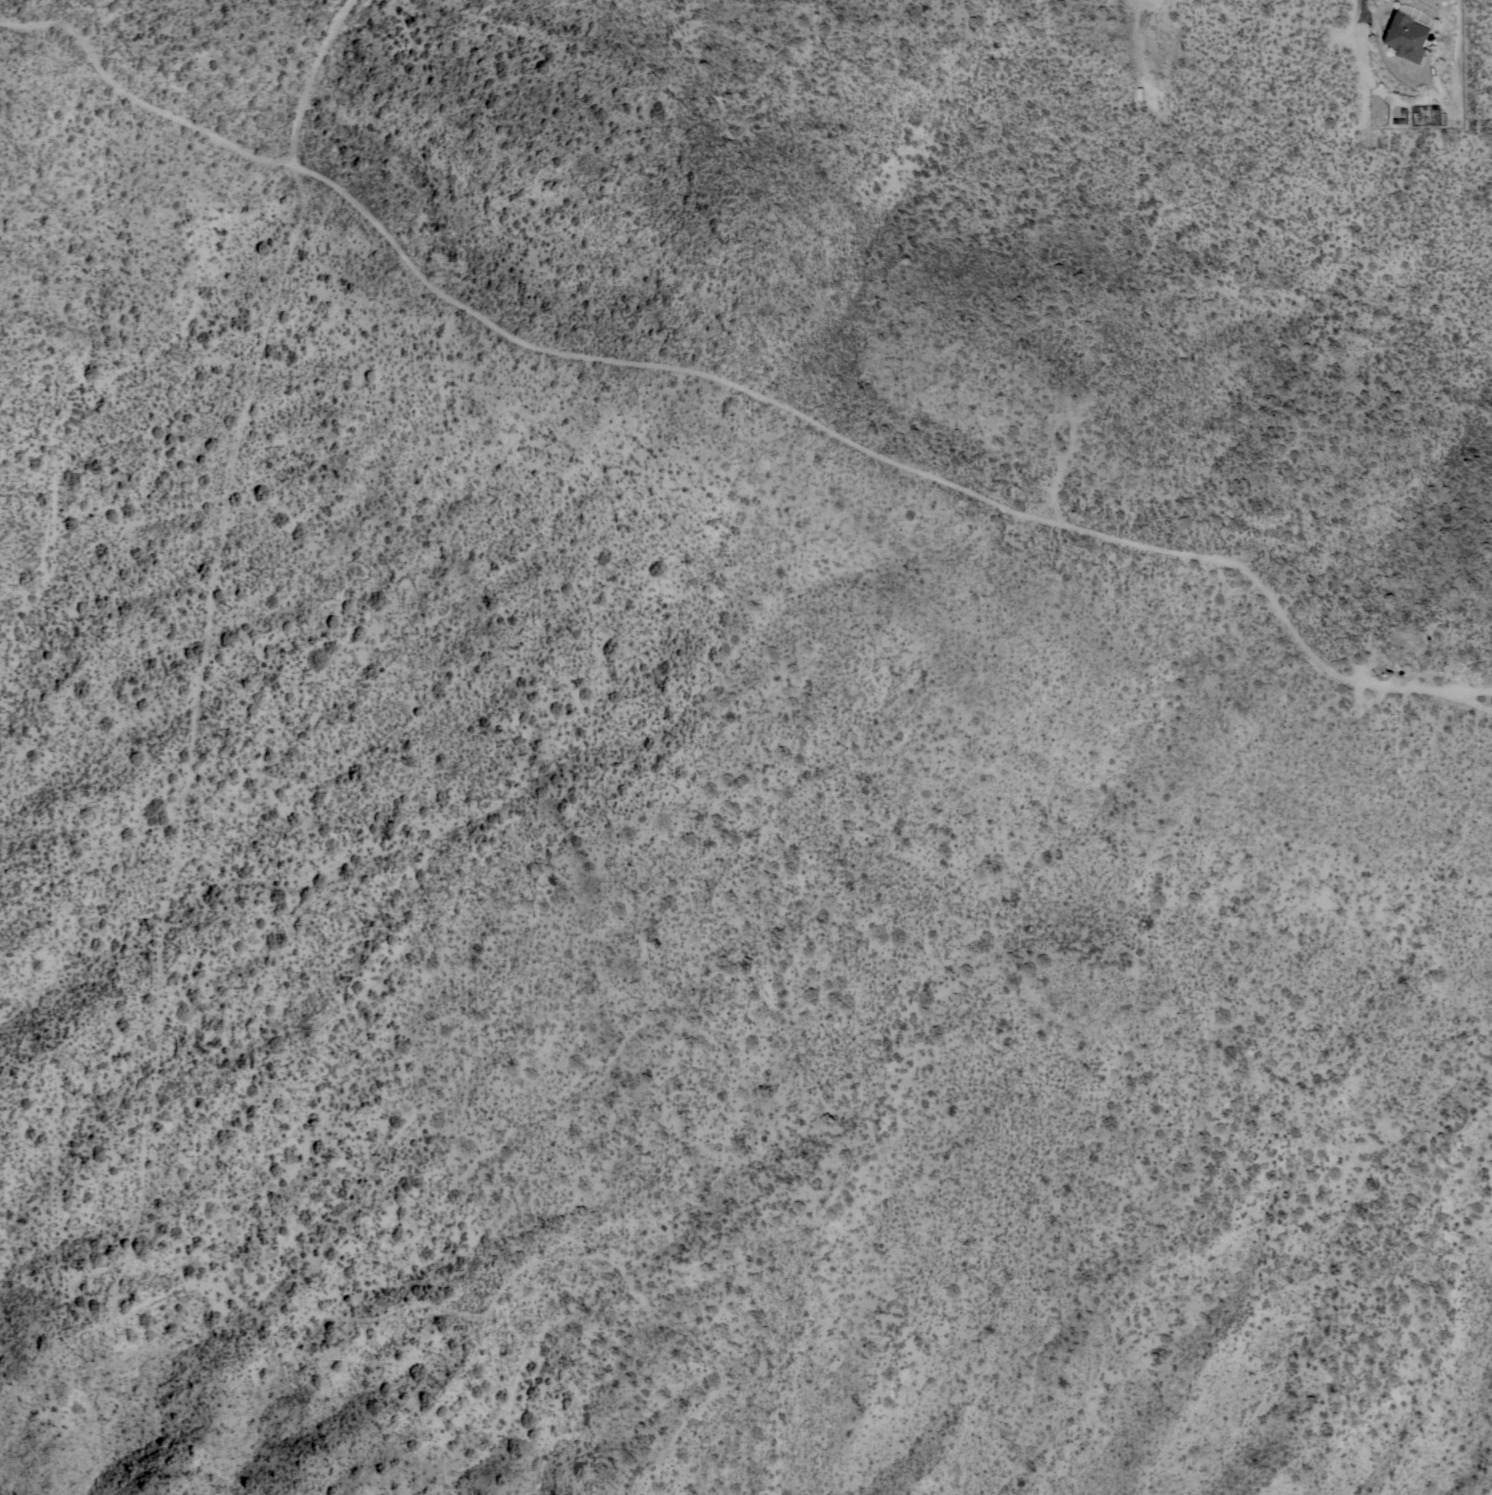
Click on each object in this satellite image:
road: (1137, 37)
building: (1408, 37)
road: (1363, 62)
road: (318, 78)
road: (729, 386)
road: (1464, 702)

